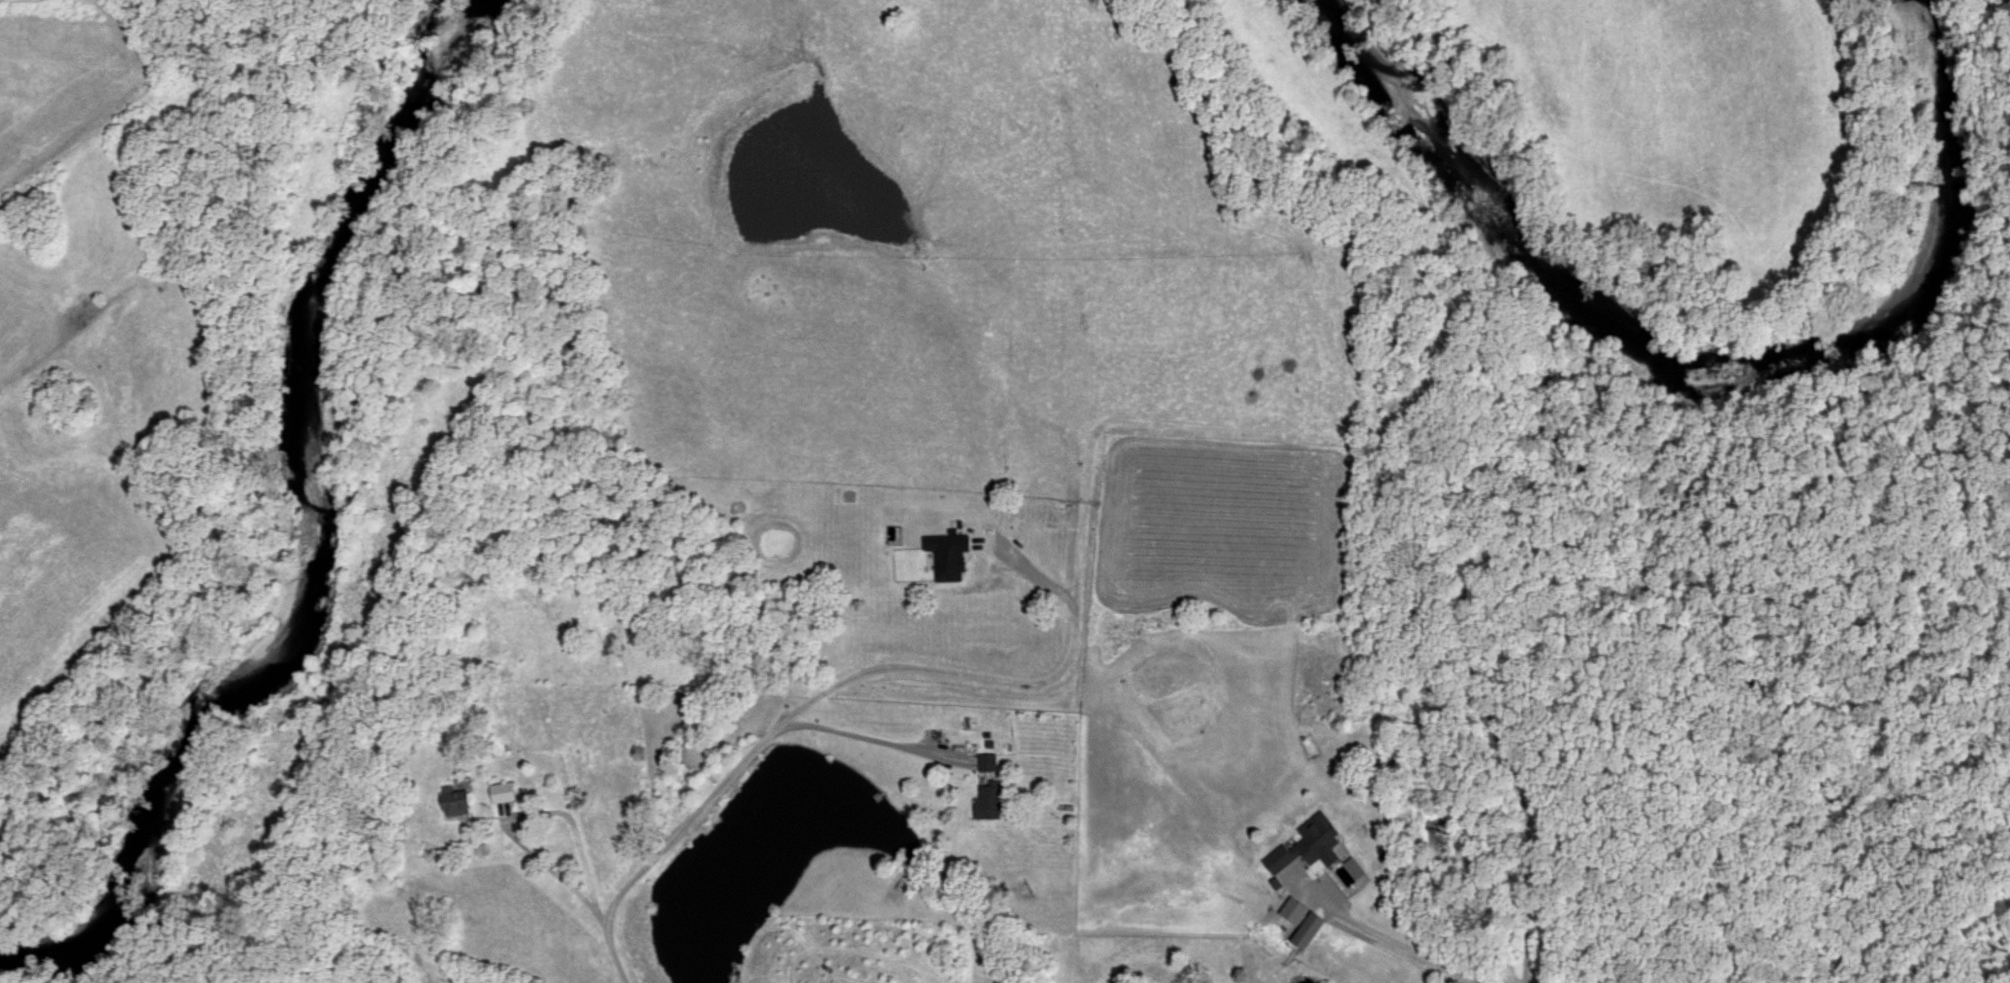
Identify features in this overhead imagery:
road: (857, 673)
road: (858, 736)
building: (987, 762)
building: (504, 792)
building: (988, 800)
building: (457, 801)
road: (518, 814)
building: (1309, 846)
building: (1355, 868)
building: (1294, 911)
building: (1308, 930)
road: (1388, 940)
road: (607, 948)

